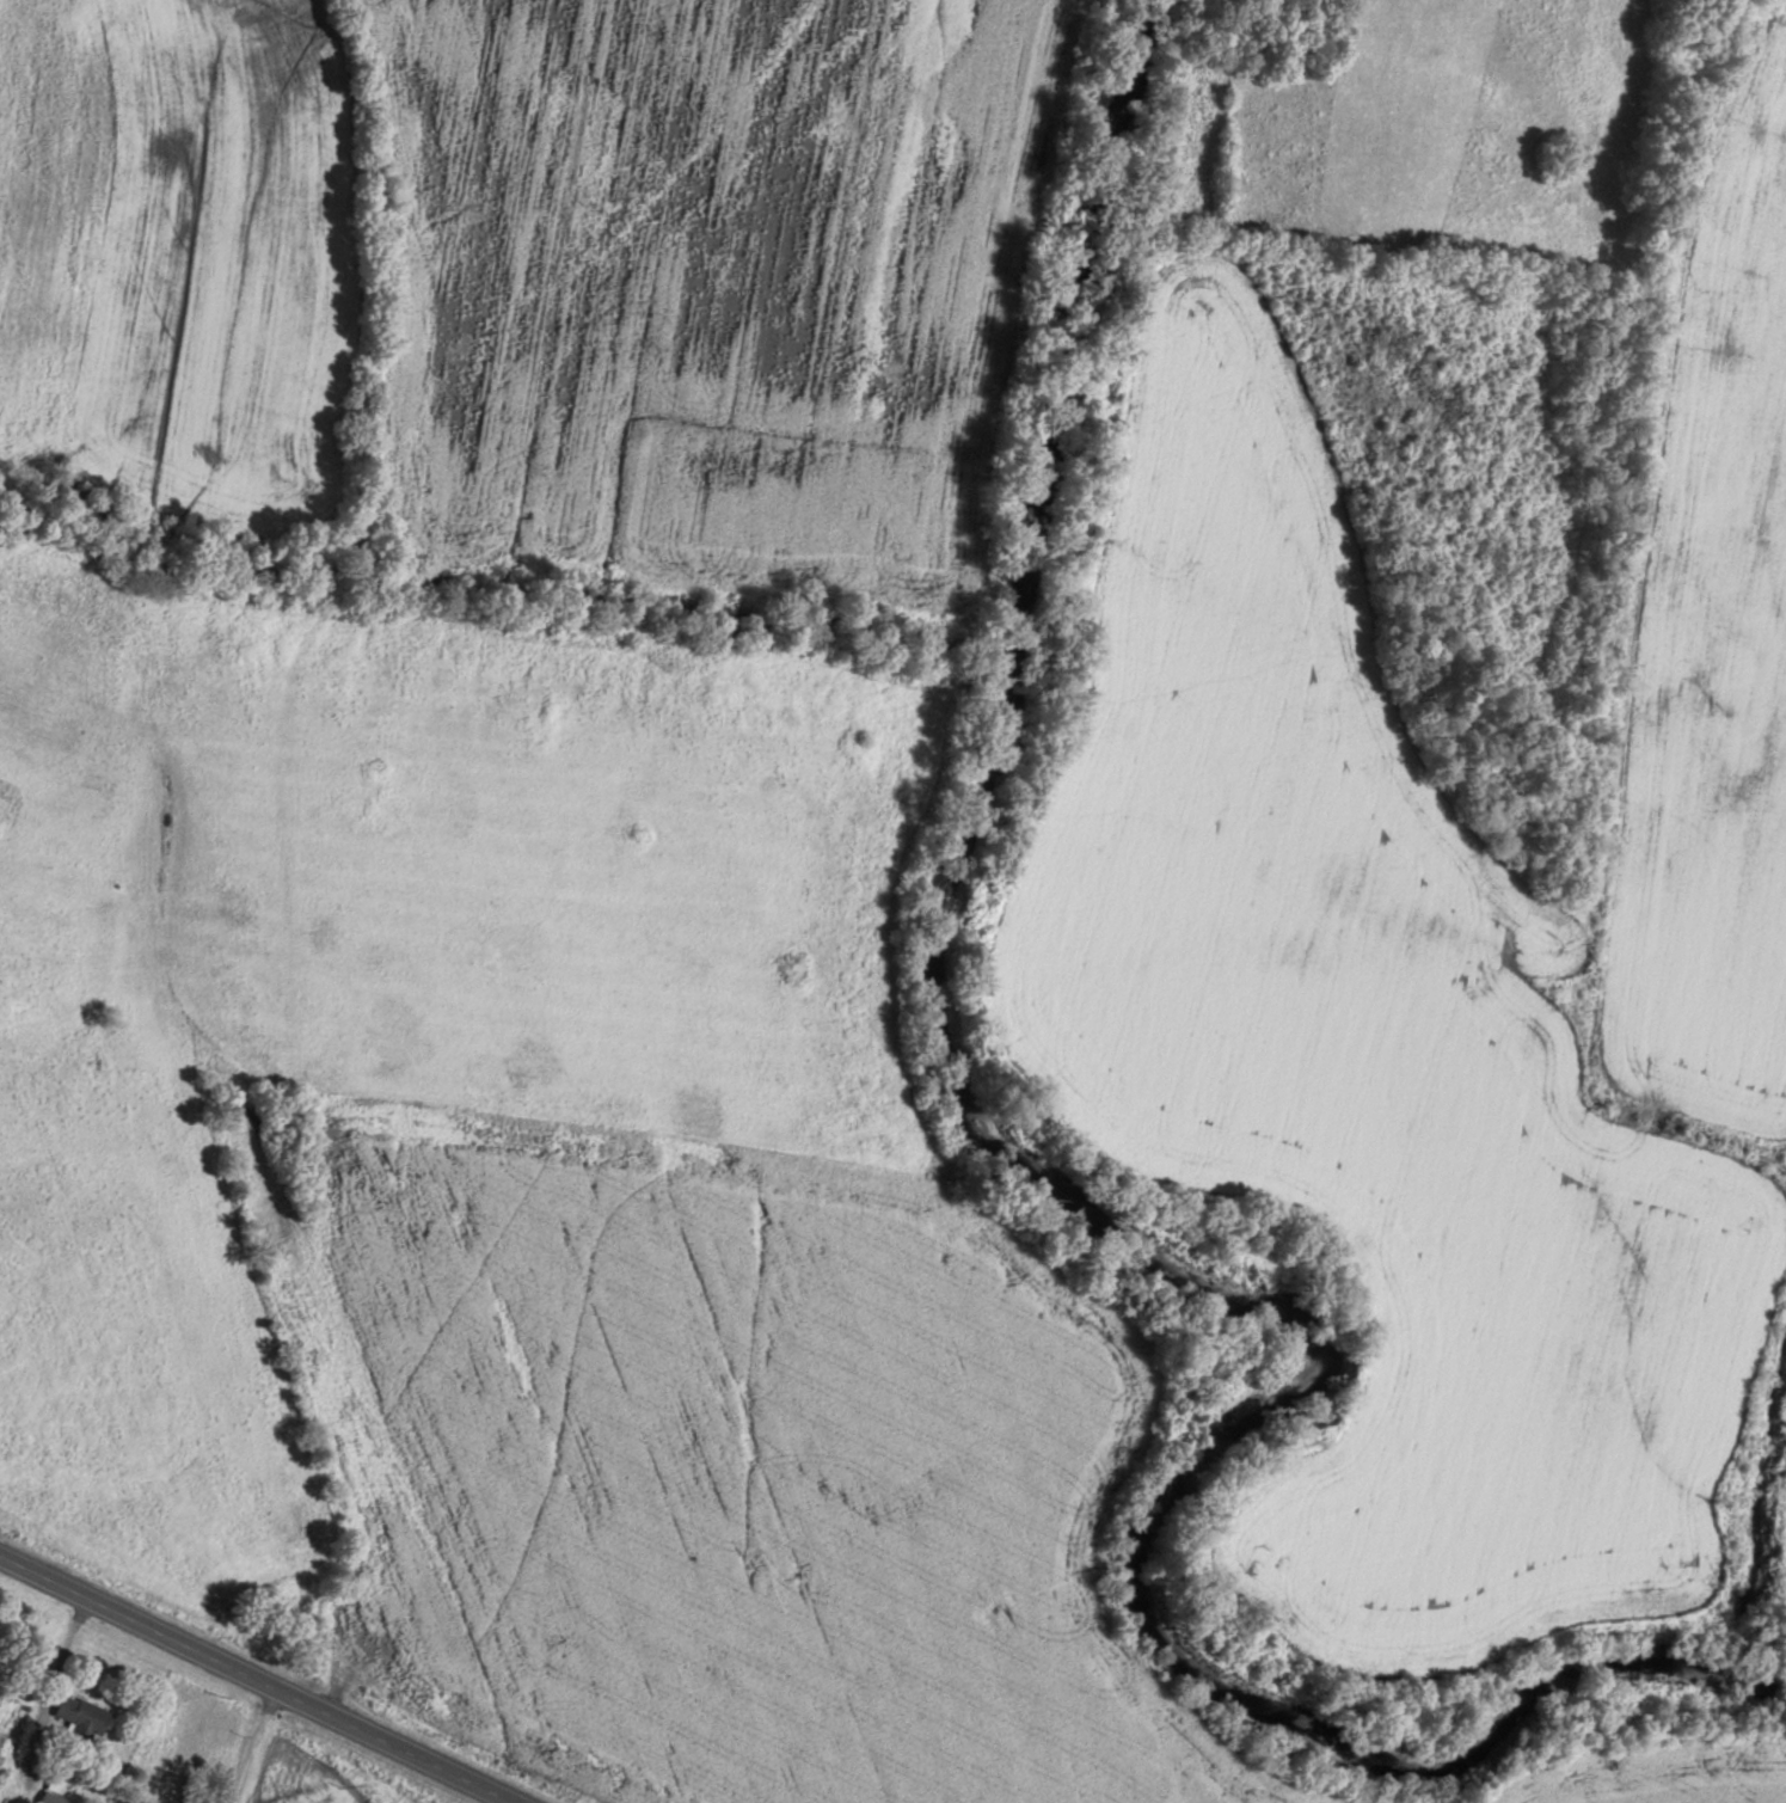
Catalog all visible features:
road: (259, 1678)
building: (86, 1716)
building: (56, 1798)

